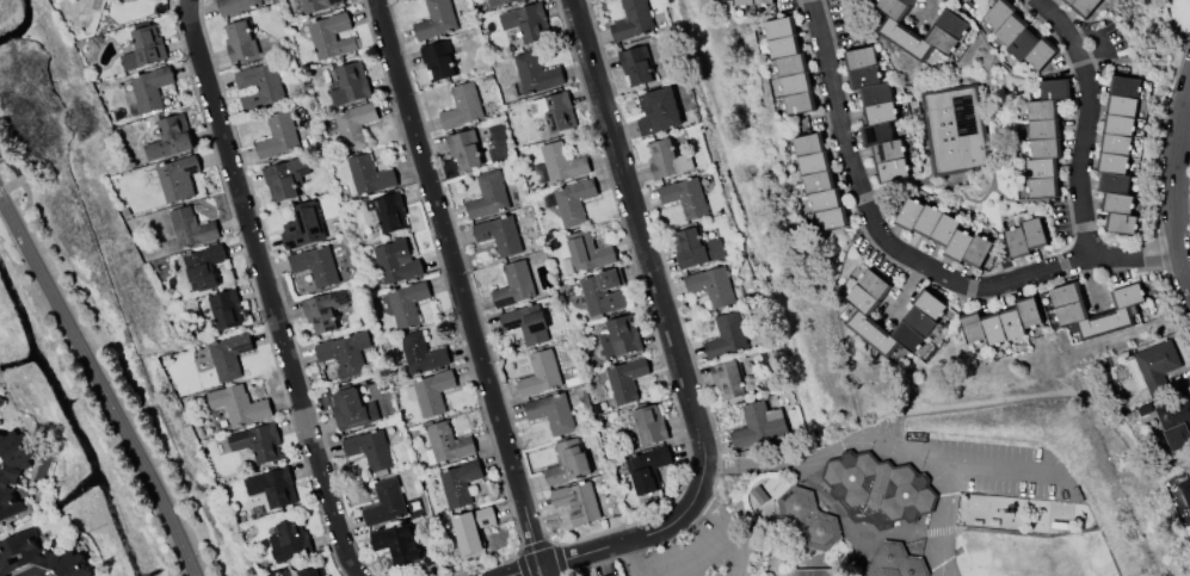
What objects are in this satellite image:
building: (752, 1)
building: (498, 2)
building: (235, 5)
building: (317, 5)
building: (1083, 6)
building: (436, 20)
building: (633, 20)
building: (526, 21)
building: (949, 27)
building: (331, 35)
building: (1018, 35)
building: (240, 39)
building: (143, 47)
building: (438, 58)
building: (636, 64)
building: (789, 64)
building: (535, 73)
building: (349, 83)
building: (259, 86)
building: (150, 87)
building: (462, 106)
building: (554, 110)
building: (658, 110)
building: (875, 112)
road: (1083, 122)
building: (353, 125)
building: (954, 129)
building: (277, 135)
building: (169, 137)
building: (1046, 138)
building: (464, 149)
building: (1117, 154)
building: (666, 157)
building: (562, 162)
building: (369, 174)
building: (284, 176)
building: (177, 178)
building: (820, 181)
road: (1174, 185)
building: (488, 194)
building: (685, 196)
building: (571, 200)
building: (388, 211)
building: (303, 225)
building: (191, 227)
building: (943, 231)
building: (499, 234)
building: (1025, 237)
building: (696, 248)
building: (587, 250)
road: (906, 259)
building: (396, 261)
building: (315, 265)
building: (567, 266)
building: (203, 267)
building: (513, 284)
building: (711, 285)
road: (457, 287)
road: (266, 290)
building: (602, 291)
building: (406, 302)
building: (224, 309)
building: (323, 310)
building: (923, 311)
building: (1120, 312)
building: (1001, 321)
building: (526, 322)
building: (726, 335)
building: (619, 336)
road: (670, 347)
building: (345, 352)
building: (421, 352)
building: (228, 354)
building: (1153, 365)
building: (541, 373)
building: (625, 378)
building: (727, 379)
road: (105, 382)
building: (430, 391)
building: (239, 404)
building: (352, 408)
building: (551, 411)
building: (1174, 420)
building: (648, 423)
building: (758, 425)
building: (258, 441)
building: (446, 441)
road: (877, 442)
building: (369, 448)
building: (567, 462)
building: (647, 469)
building: (13, 470)
building: (460, 482)
building: (272, 487)
building: (877, 488)
building: (1185, 491)
building: (759, 494)
building: (386, 501)
building: (578, 501)
road: (945, 512)
road: (840, 515)
building: (808, 516)
building: (473, 527)
road: (974, 529)
road: (723, 531)
building: (289, 540)
building: (396, 543)
building: (38, 556)
road: (634, 557)
road: (688, 558)
building: (898, 560)
road: (937, 569)
road: (943, 569)
building: (312, 571)
building: (809, 571)
building: (327, 575)
building: (614, 575)

